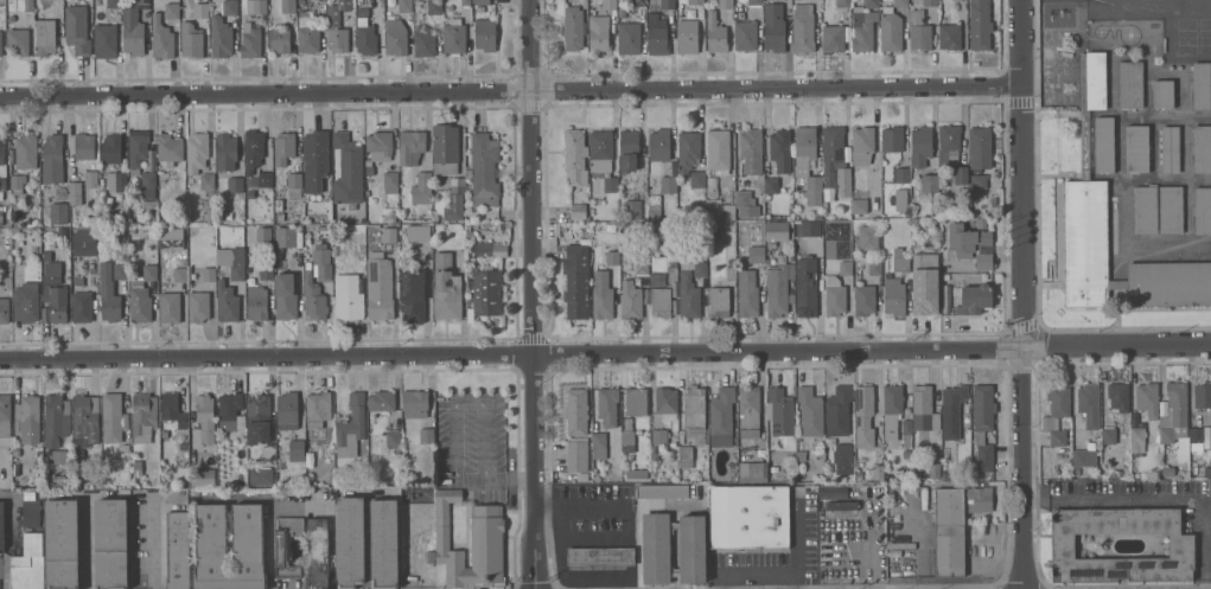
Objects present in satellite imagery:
building: (416, 0)
building: (482, 1)
building: (695, 1)
building: (466, 2)
building: (638, 2)
building: (754, 2)
building: (901, 2)
building: (930, 2)
building: (114, 4)
building: (725, 4)
building: (842, 4)
building: (872, 4)
building: (608, 5)
building: (668, 5)
building: (28, 6)
building: (256, 6)
building: (288, 6)
building: (404, 6)
building: (230, 7)
building: (434, 7)
building: (172, 9)
building: (200, 9)
building: (623, 12)
building: (980, 25)
building: (338, 26)
building: (775, 27)
building: (77, 28)
building: (134, 28)
building: (573, 28)
building: (803, 28)
building: (863, 28)
building: (891, 30)
building: (147, 31)
building: (919, 31)
building: (308, 33)
building: (365, 33)
building: (599, 33)
building: (715, 33)
building: (484, 34)
building: (657, 34)
building: (746, 34)
building: (45, 37)
building: (161, 37)
building: (221, 37)
building: (395, 37)
building: (687, 37)
building: (950, 37)
building: (454, 38)
building: (629, 38)
building: (834, 38)
building: (279, 39)
building: (18, 40)
building: (106, 40)
building: (191, 40)
building: (250, 41)
building: (425, 41)
building: (0, 44)
building: (1095, 79)
building: (1130, 84)
building: (1202, 85)
road: (514, 92)
building: (1162, 94)
building: (1084, 123)
building: (892, 139)
building: (380, 142)
building: (659, 145)
building: (862, 145)
building: (1103, 145)
building: (84, 146)
building: (920, 146)
building: (168, 147)
building: (285, 147)
building: (412, 147)
building: (980, 147)
building: (1136, 148)
building: (110, 149)
building: (138, 149)
building: (445, 149)
building: (1169, 149)
building: (1202, 149)
building: (26, 151)
building: (253, 151)
building: (629, 151)
building: (751, 151)
building: (780, 151)
building: (197, 152)
building: (225, 152)
building: (688, 152)
building: (718, 152)
building: (952, 153)
building: (575, 156)
building: (52, 159)
building: (603, 159)
building: (316, 160)
building: (831, 160)
building: (808, 162)
building: (2, 167)
building: (484, 169)
building: (349, 171)
building: (903, 175)
building: (91, 179)
building: (264, 179)
building: (697, 179)
building: (17, 180)
building: (116, 181)
building: (391, 181)
building: (979, 181)
building: (253, 183)
building: (208, 184)
building: (294, 184)
building: (843, 184)
building: (148, 185)
building: (235, 185)
building: (669, 185)
building: (772, 185)
building: (929, 185)
building: (422, 188)
building: (18, 192)
building: (75, 193)
building: (249, 193)
building: (975, 193)
building: (455, 199)
building: (744, 199)
building: (901, 199)
building: (859, 201)
building: (148, 206)
building: (655, 207)
building: (1171, 209)
building: (632, 210)
building: (1145, 210)
building: (1202, 210)
building: (578, 211)
building: (59, 212)
building: (721, 212)
building: (19, 215)
building: (818, 216)
building: (1, 218)
building: (120, 219)
building: (981, 223)
building: (810, 228)
building: (324, 229)
building: (132, 230)
building: (250, 230)
building: (62, 231)
building: (418, 232)
building: (776, 233)
building: (120, 235)
building: (263, 235)
building: (389, 235)
building: (285, 237)
building: (758, 238)
building: (147, 239)
building: (84, 243)
building: (1085, 243)
building: (969, 245)
building: (479, 250)
building: (499, 250)
building: (757, 255)
building: (46, 256)
building: (338, 256)
building: (612, 258)
building: (231, 261)
building: (924, 261)
building: (900, 262)
building: (321, 263)
building: (642, 265)
building: (846, 268)
building: (874, 268)
building: (121, 270)
building: (673, 270)
building: (731, 270)
building: (266, 271)
building: (209, 274)
building: (179, 275)
building: (945, 276)
building: (657, 280)
building: (78, 281)
building: (576, 281)
building: (1117, 283)
building: (1169, 283)
building: (31, 287)
building: (380, 287)
building: (807, 287)
building: (690, 288)
building: (446, 289)
building: (779, 289)
building: (55, 292)
building: (485, 292)
building: (925, 292)
road: (535, 294)
building: (747, 294)
road: (1025, 294)
building: (109, 295)
building: (603, 295)
building: (141, 296)
building: (286, 296)
building: (313, 296)
building: (348, 296)
building: (835, 296)
building: (894, 296)
building: (413, 297)
building: (631, 300)
building: (865, 300)
building: (945, 300)
building: (975, 300)
building: (227, 302)
building: (257, 302)
building: (662, 302)
building: (719, 302)
building: (25, 305)
building: (82, 307)
building: (170, 307)
building: (199, 307)
building: (5, 310)
road: (605, 354)
building: (1203, 395)
building: (1118, 396)
building: (1148, 399)
building: (382, 401)
building: (636, 402)
building: (667, 403)
building: (415, 404)
road: (454, 404)
building: (1089, 404)
building: (608, 405)
building: (694, 406)
building: (172, 409)
building: (318, 409)
building: (924, 409)
building: (287, 410)
building: (892, 410)
building: (952, 410)
building: (231, 411)
building: (576, 411)
building: (748, 411)
building: (780, 411)
building: (810, 411)
building: (839, 411)
building: (1057, 412)
building: (114, 414)
building: (1174, 414)
building: (56, 415)
building: (5, 416)
building: (863, 416)
building: (27, 417)
building: (144, 417)
building: (205, 417)
building: (259, 417)
building: (721, 417)
building: (85, 418)
building: (983, 425)
building: (351, 427)
building: (627, 431)
building: (906, 433)
building: (164, 434)
building: (427, 435)
building: (696, 435)
building: (1197, 435)
building: (1108, 436)
building: (659, 437)
building: (1137, 440)
building: (394, 441)
building: (183, 446)
building: (599, 446)
building: (297, 450)
building: (406, 450)
building: (687, 453)
building: (654, 454)
building: (906, 454)
building: (57, 455)
building: (578, 455)
building: (801, 455)
building: (1084, 456)
building: (843, 459)
building: (618, 469)
building: (935, 469)
building: (732, 472)
building: (751, 472)
building: (878, 472)
building: (1168, 472)
building: (138, 473)
building: (637, 473)
building: (917, 473)
building: (1207, 473)
building: (261, 476)
building: (202, 478)
building: (556, 478)
building: (55, 479)
building: (93, 480)
road: (511, 481)
building: (1210, 488)
building: (409, 491)
building: (663, 491)
building: (979, 499)
road: (1158, 500)
building: (841, 505)
building: (31, 512)
building: (418, 517)
building: (748, 517)
building: (1, 527)
building: (949, 531)
building: (247, 534)
building: (487, 536)
building: (351, 542)
road: (85, 543)
building: (110, 543)
building: (62, 544)
road: (154, 544)
building: (384, 544)
building: (286, 546)
building: (1181, 546)
road: (871, 548)
building: (656, 549)
building: (693, 549)
building: (178, 550)
road: (796, 552)
building: (318, 553)
building: (600, 556)
building: (431, 557)
building: (28, 564)

